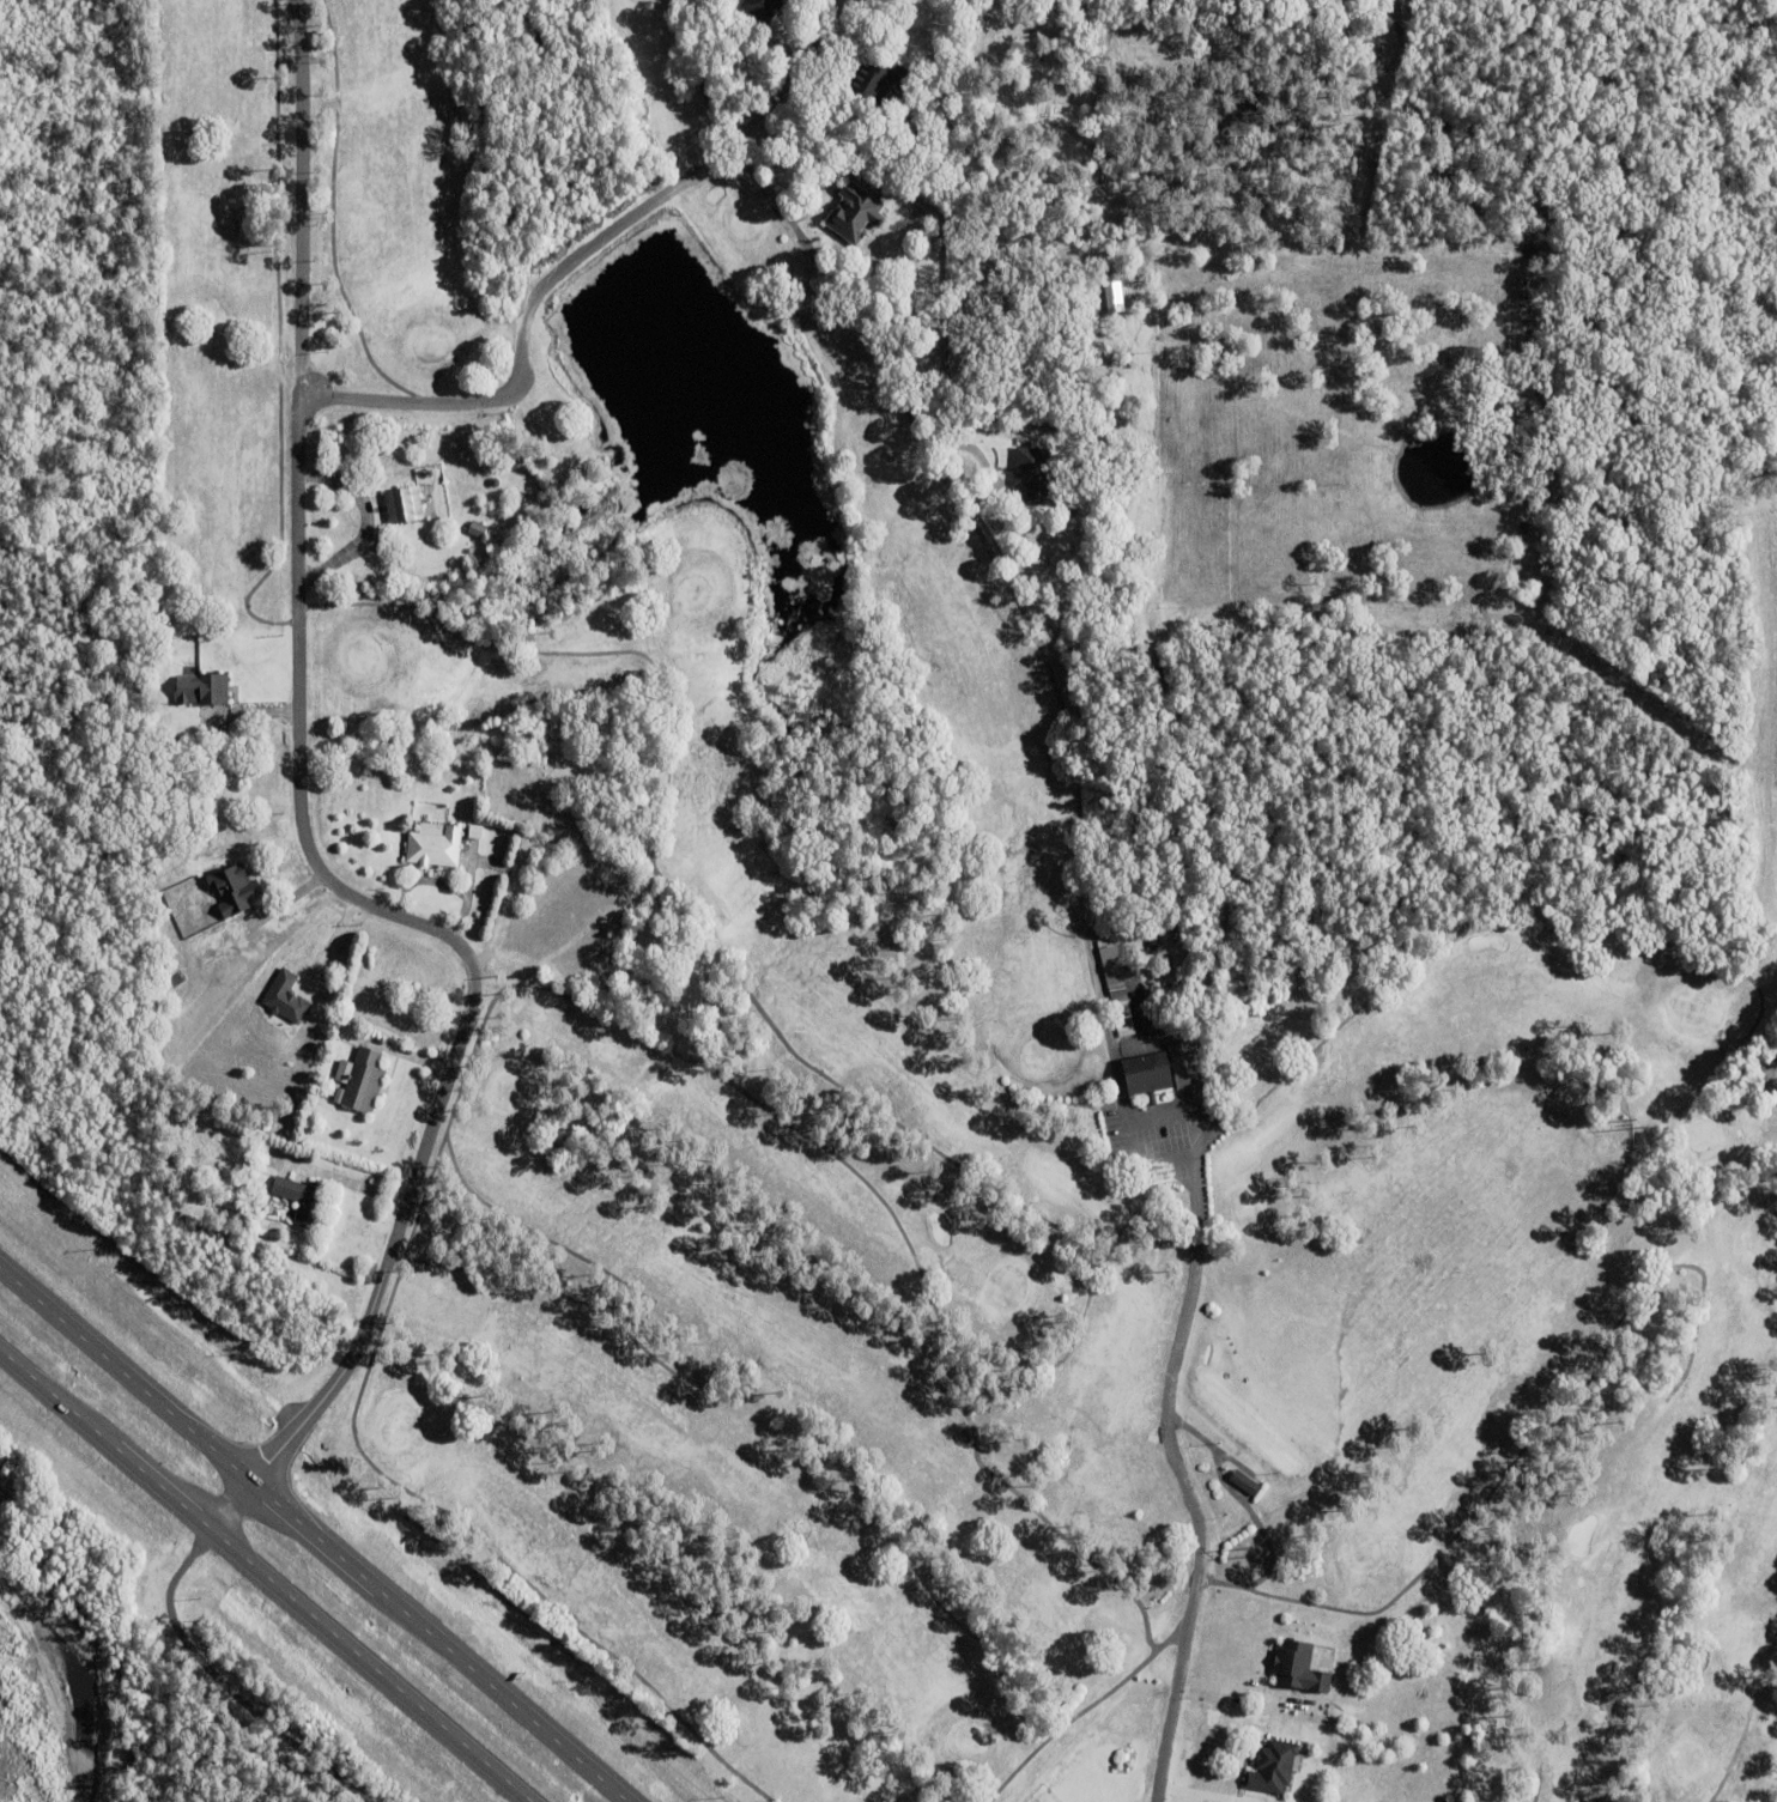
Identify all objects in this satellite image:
building: (763, 11)
building: (1061, 74)
building: (875, 87)
road: (825, 164)
road: (299, 199)
building: (854, 218)
road: (784, 223)
building: (1112, 292)
building: (1031, 472)
building: (402, 500)
building: (475, 528)
road: (296, 672)
building: (202, 686)
building: (474, 832)
building: (435, 847)
building: (234, 891)
building: (1154, 944)
building: (1157, 979)
building: (1172, 996)
building: (285, 997)
building: (1118, 997)
park: (920, 1011)
building: (1123, 1025)
building: (1178, 1066)
building: (1146, 1076)
building: (363, 1082)
parking lot: (1157, 1126)
building: (273, 1154)
building: (303, 1202)
road: (1171, 1439)
building: (1243, 1484)
road: (314, 1535)
road: (262, 1576)
building: (1298, 1669)
road: (223, 1686)
building: (1272, 1770)

